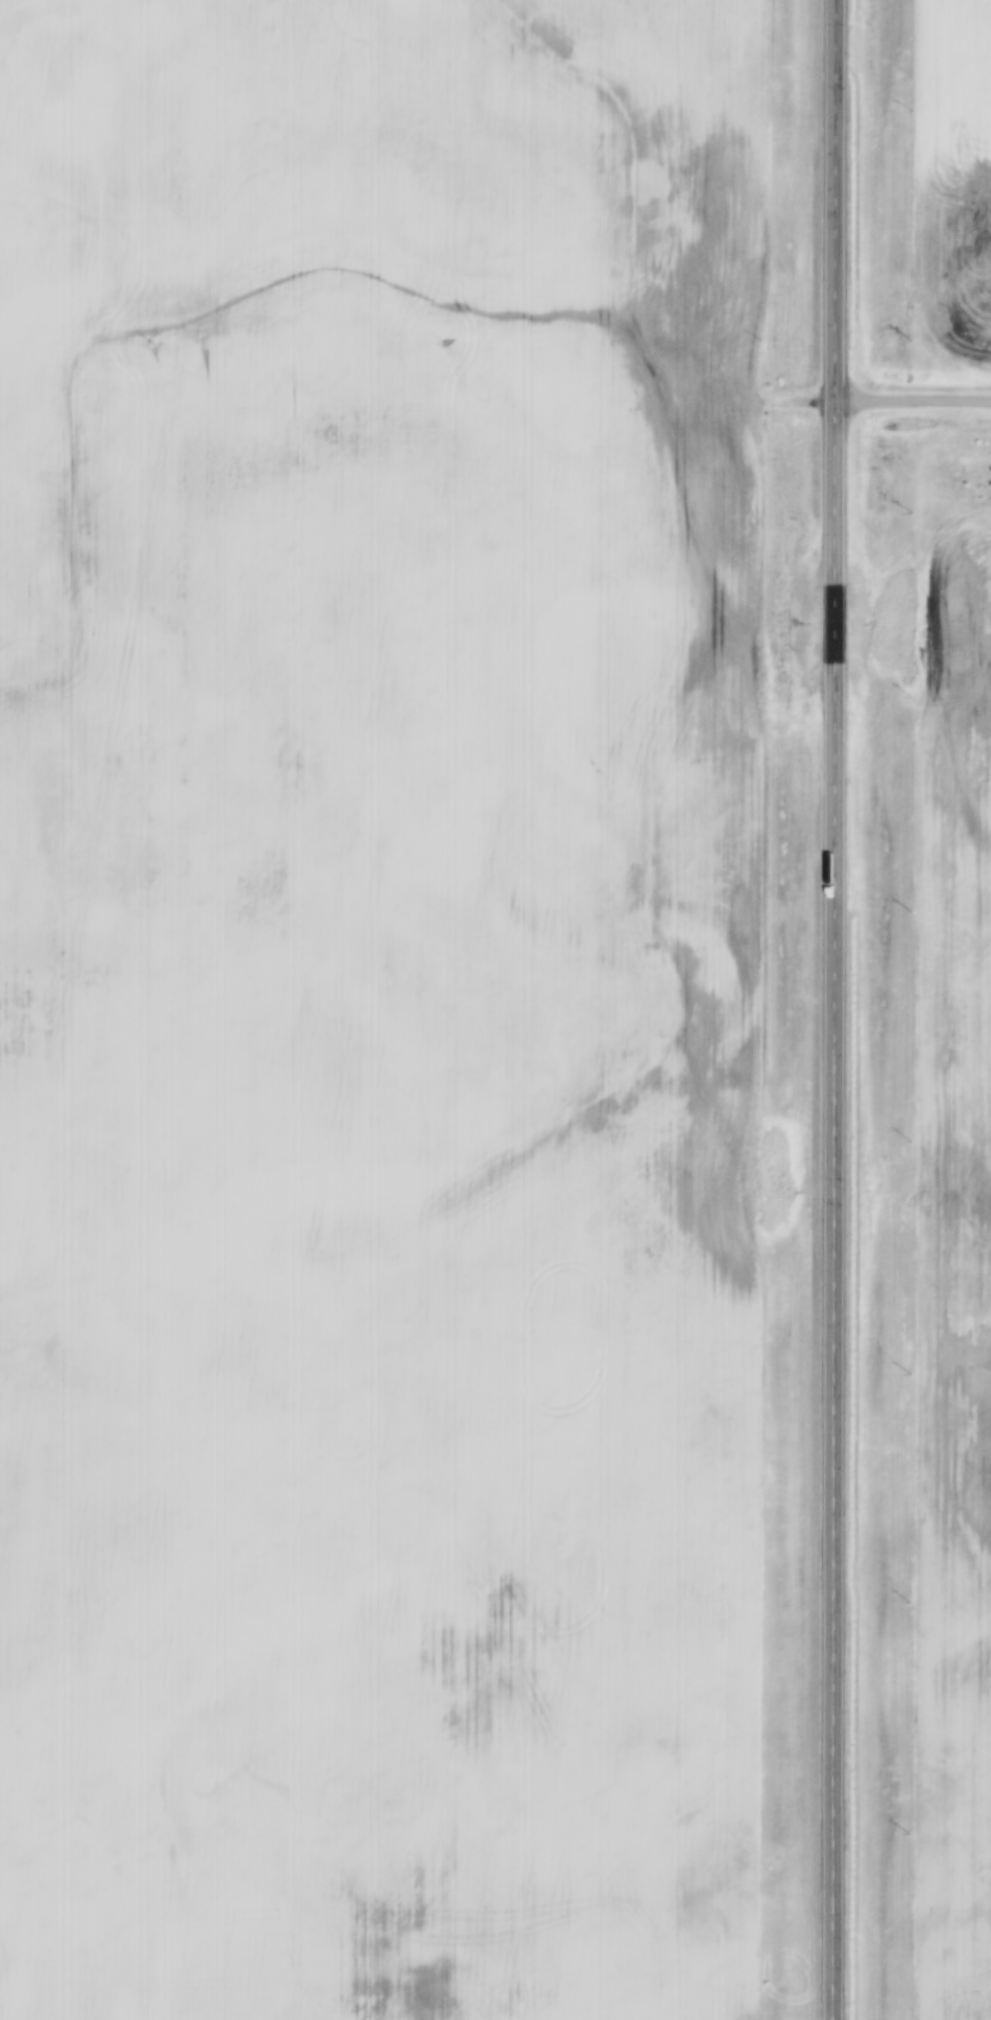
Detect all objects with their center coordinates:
road: (915, 396)
road: (838, 1009)

